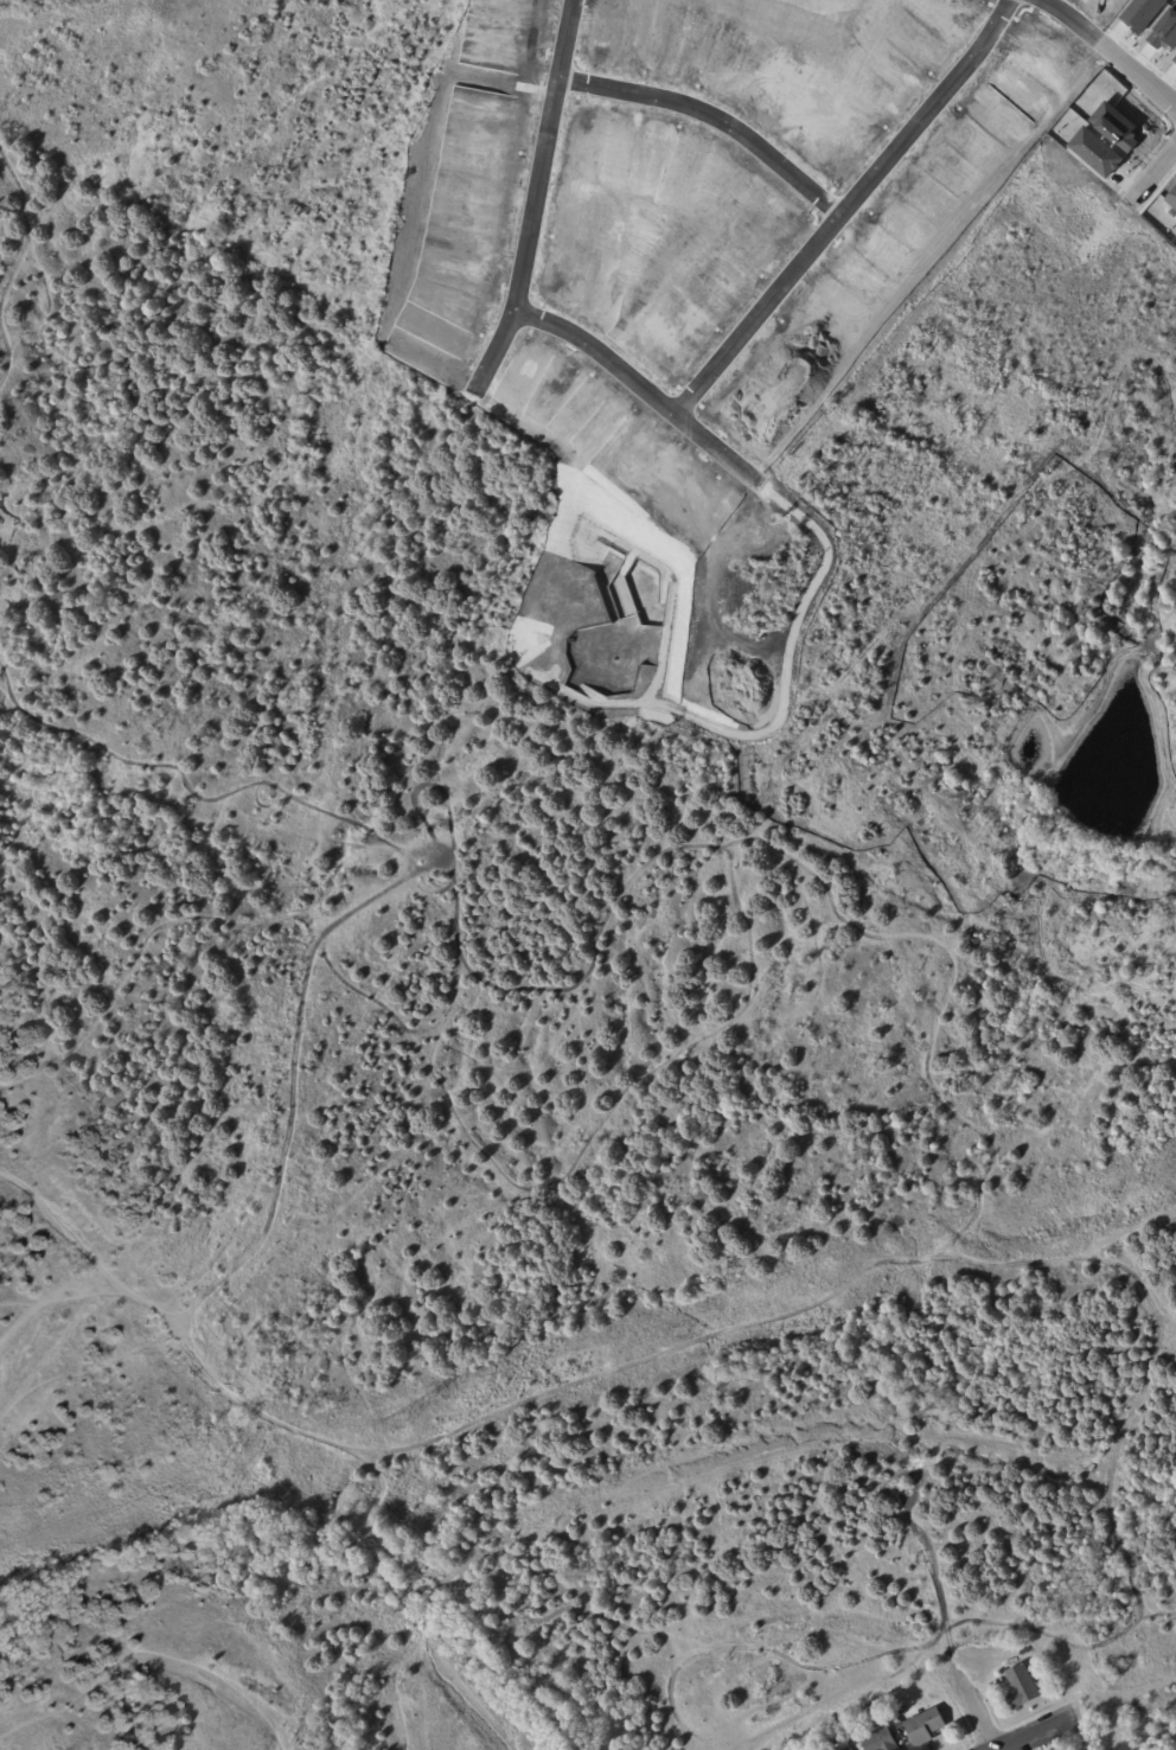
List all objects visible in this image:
road: (1117, 40)
road: (720, 120)
road: (1156, 174)
road: (542, 203)
road: (851, 212)
road: (650, 392)
park: (758, 1305)
power tower: (403, 1422)
road: (306, 1433)
building: (1023, 1686)
road: (1124, 1688)
road: (970, 1700)
building: (926, 1725)
road: (1040, 1733)
building: (838, 1736)
building: (881, 1738)

